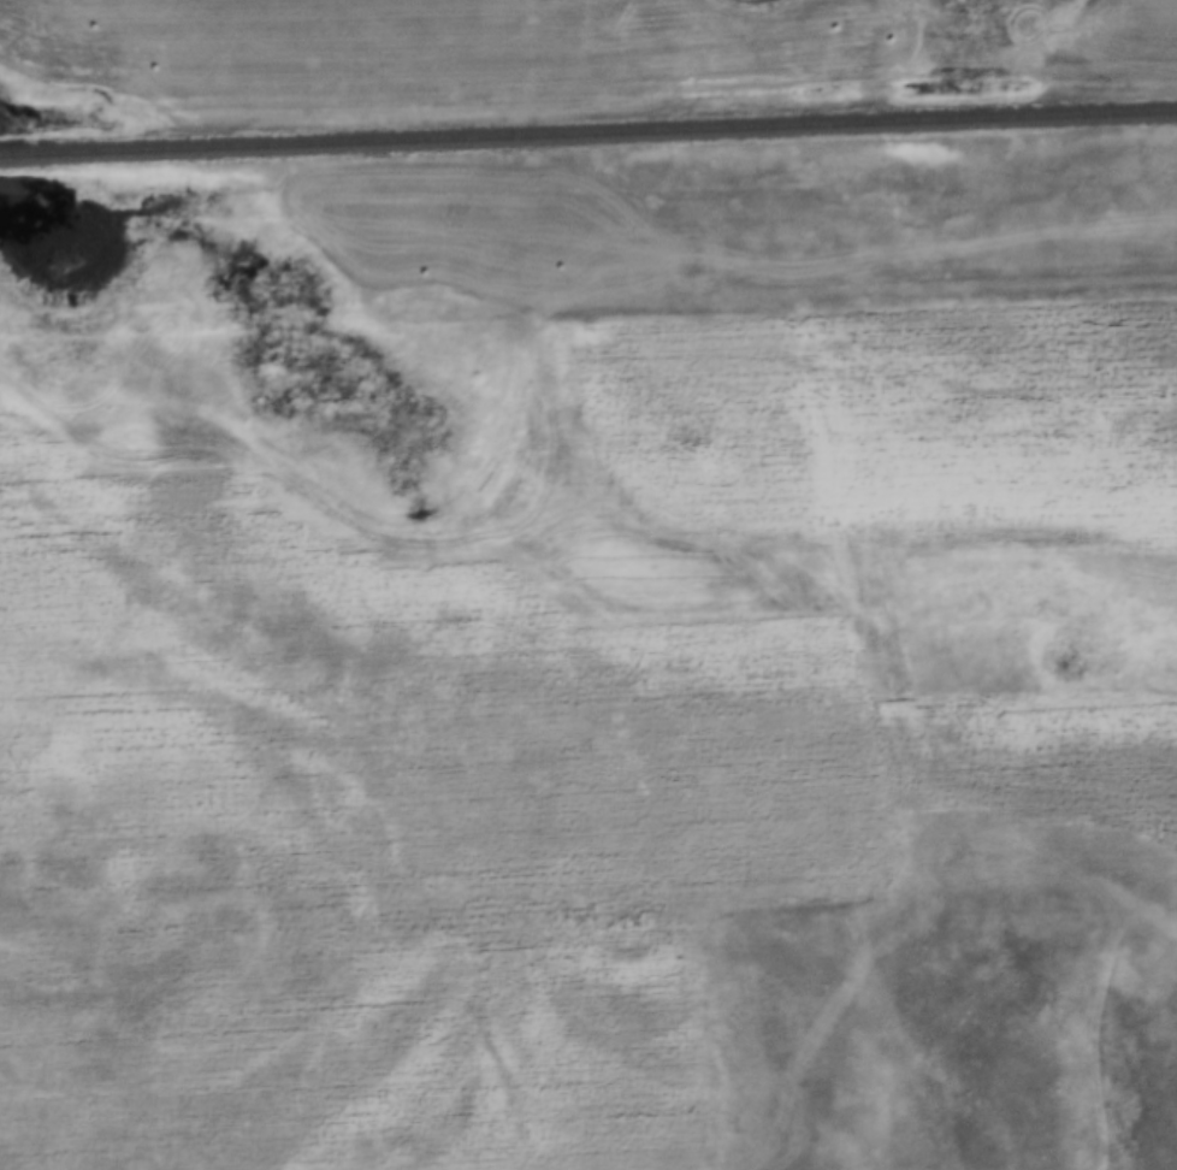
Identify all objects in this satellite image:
railway: (587, 108)

